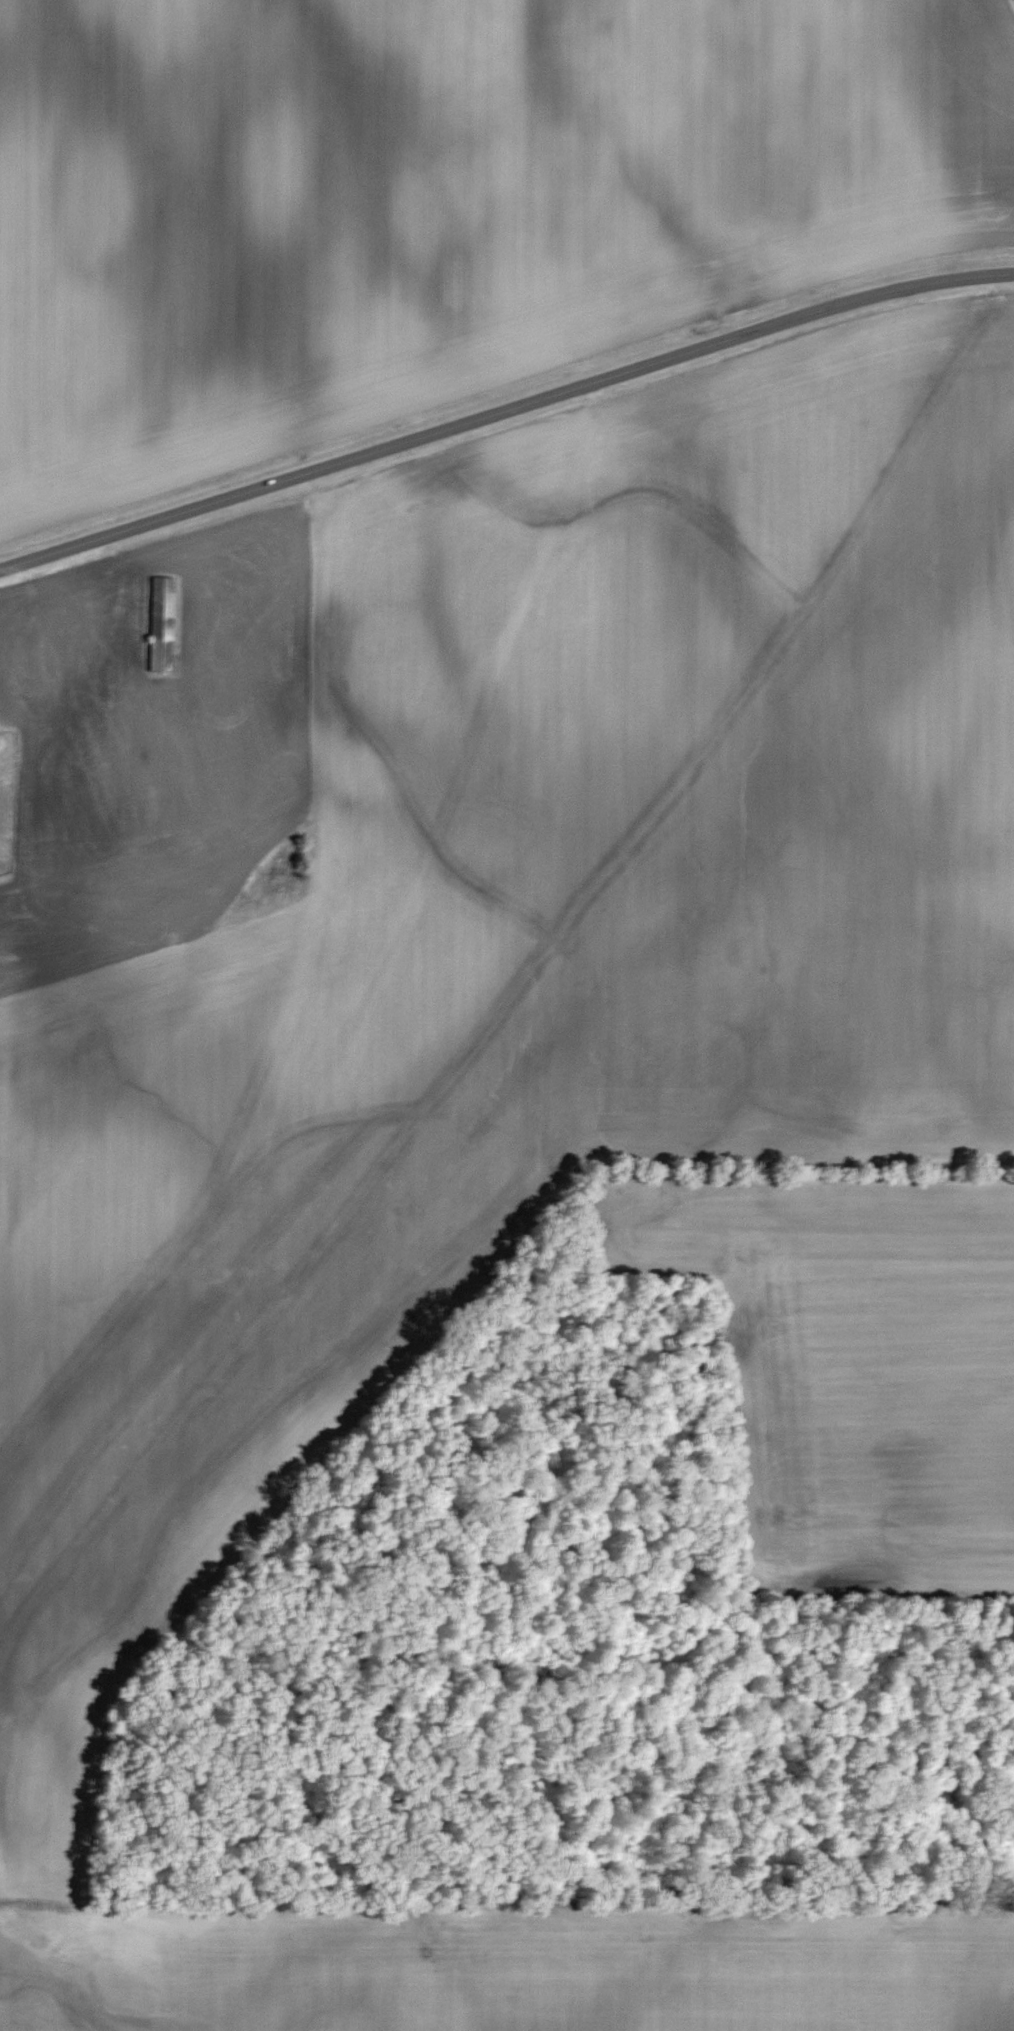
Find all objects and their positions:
road: (504, 408)
building: (160, 624)

